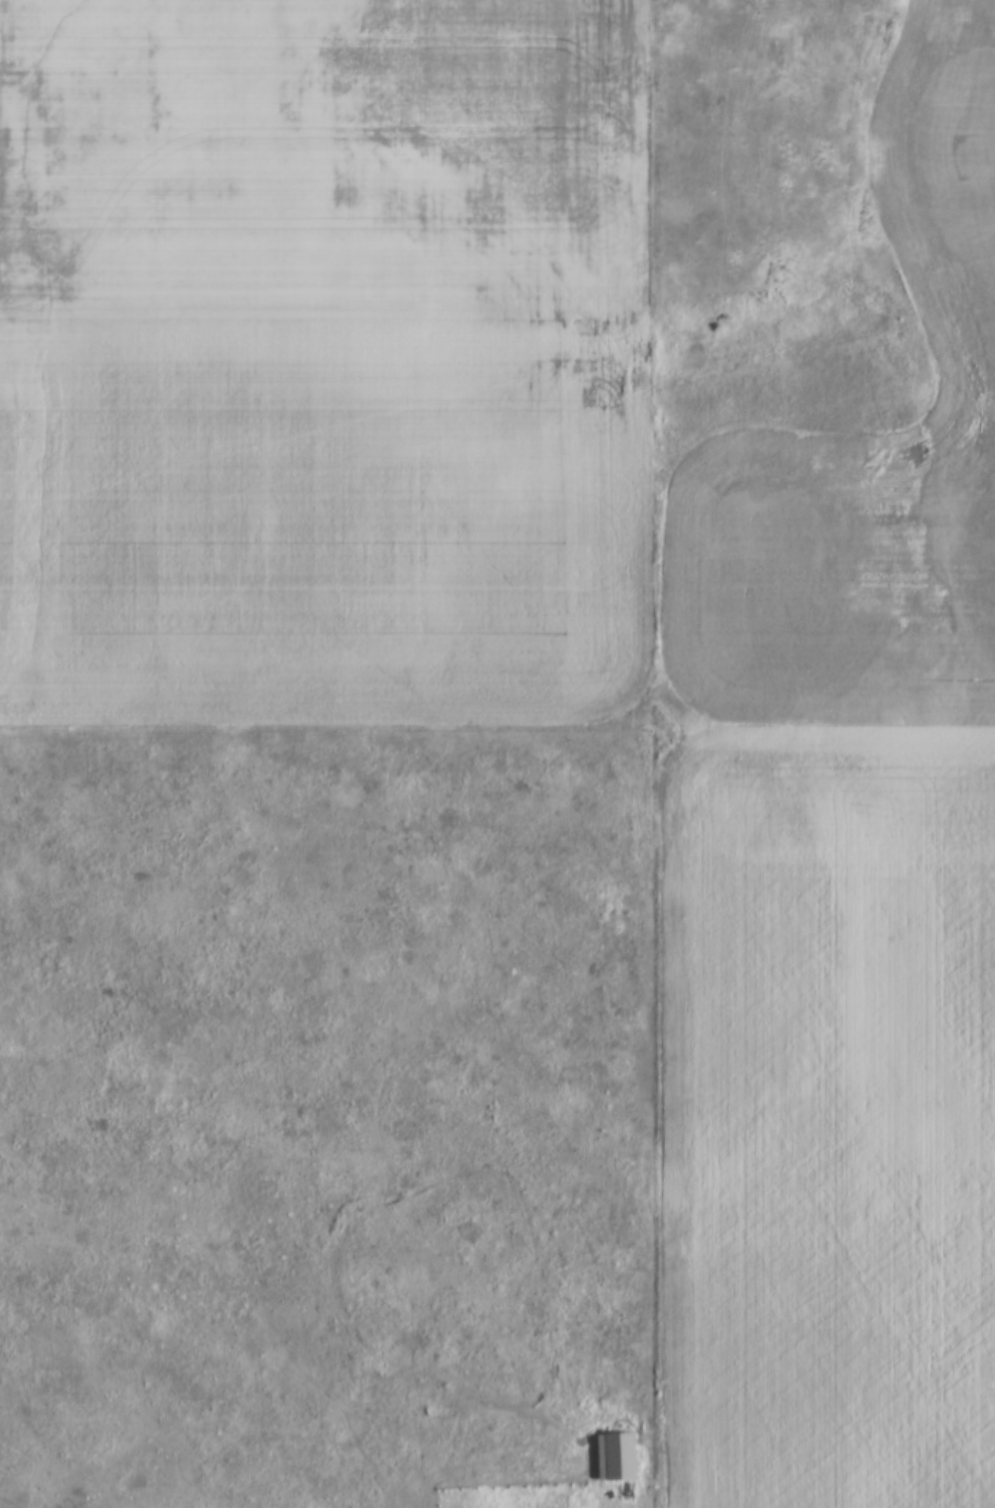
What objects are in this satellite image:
building: (616, 1455)

